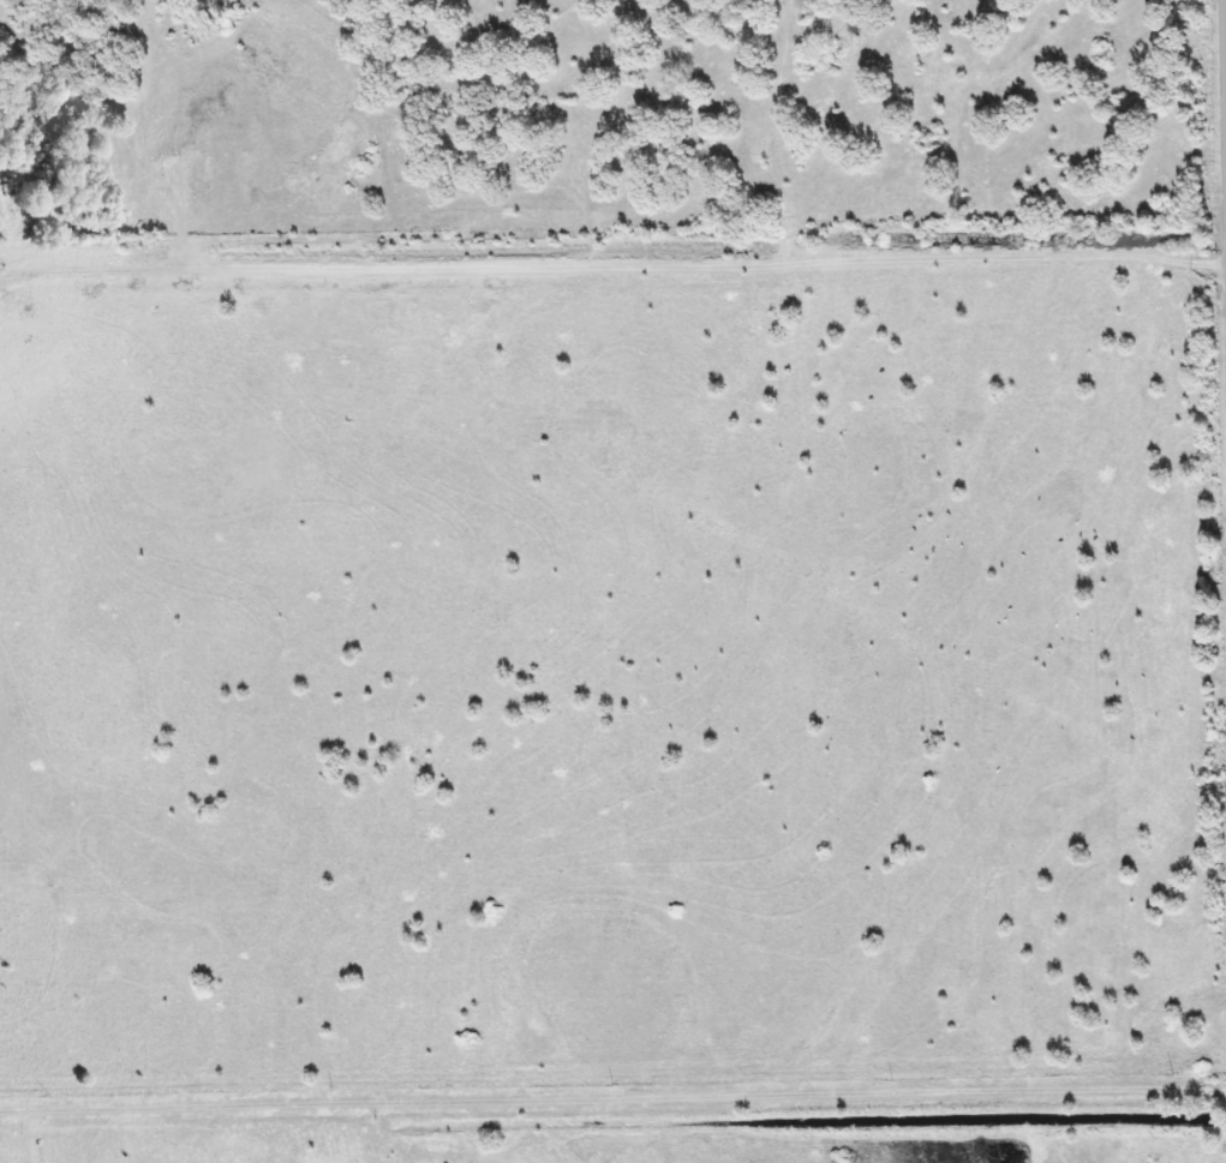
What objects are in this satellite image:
road: (647, 262)
road: (614, 1096)

